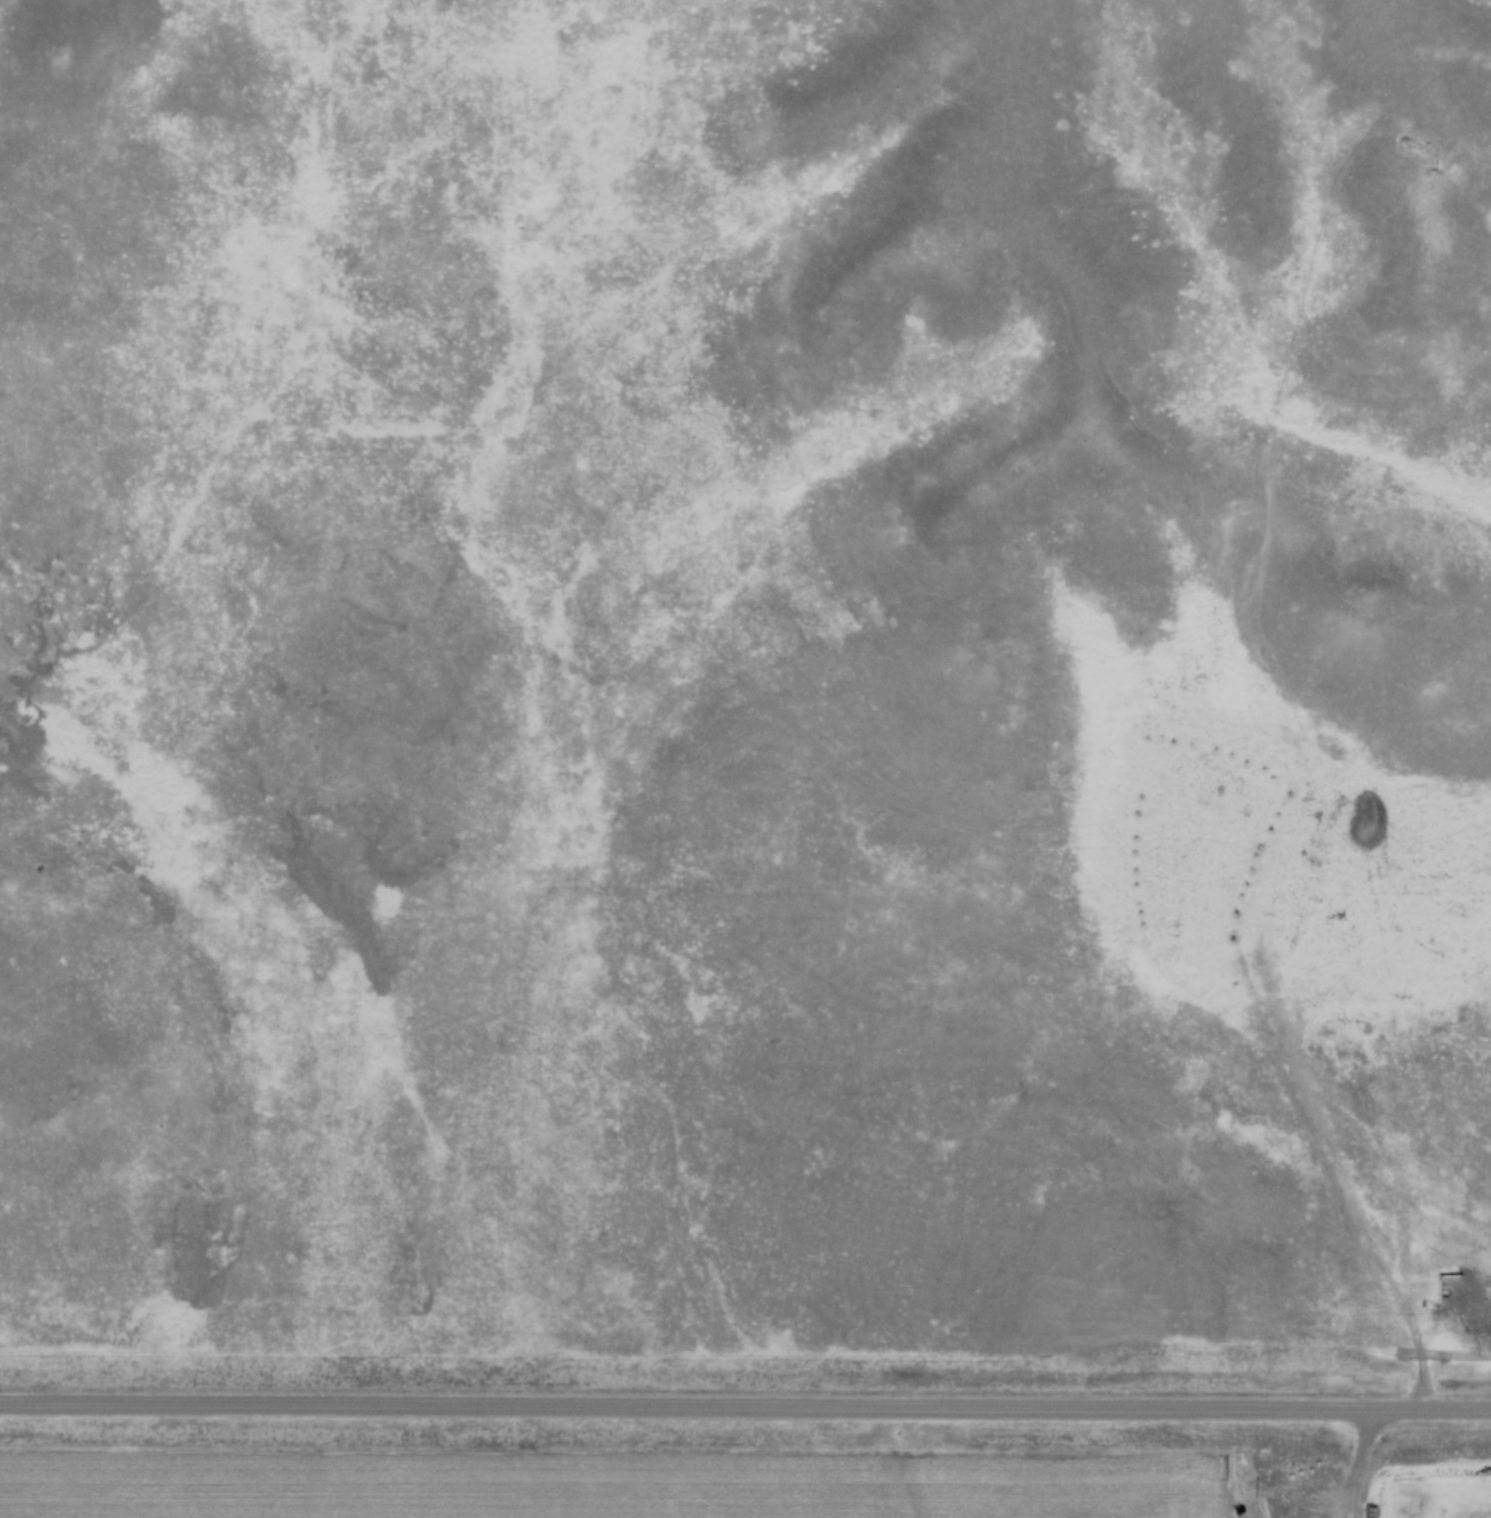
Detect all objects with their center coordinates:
road: (745, 1407)
road: (1368, 1463)

